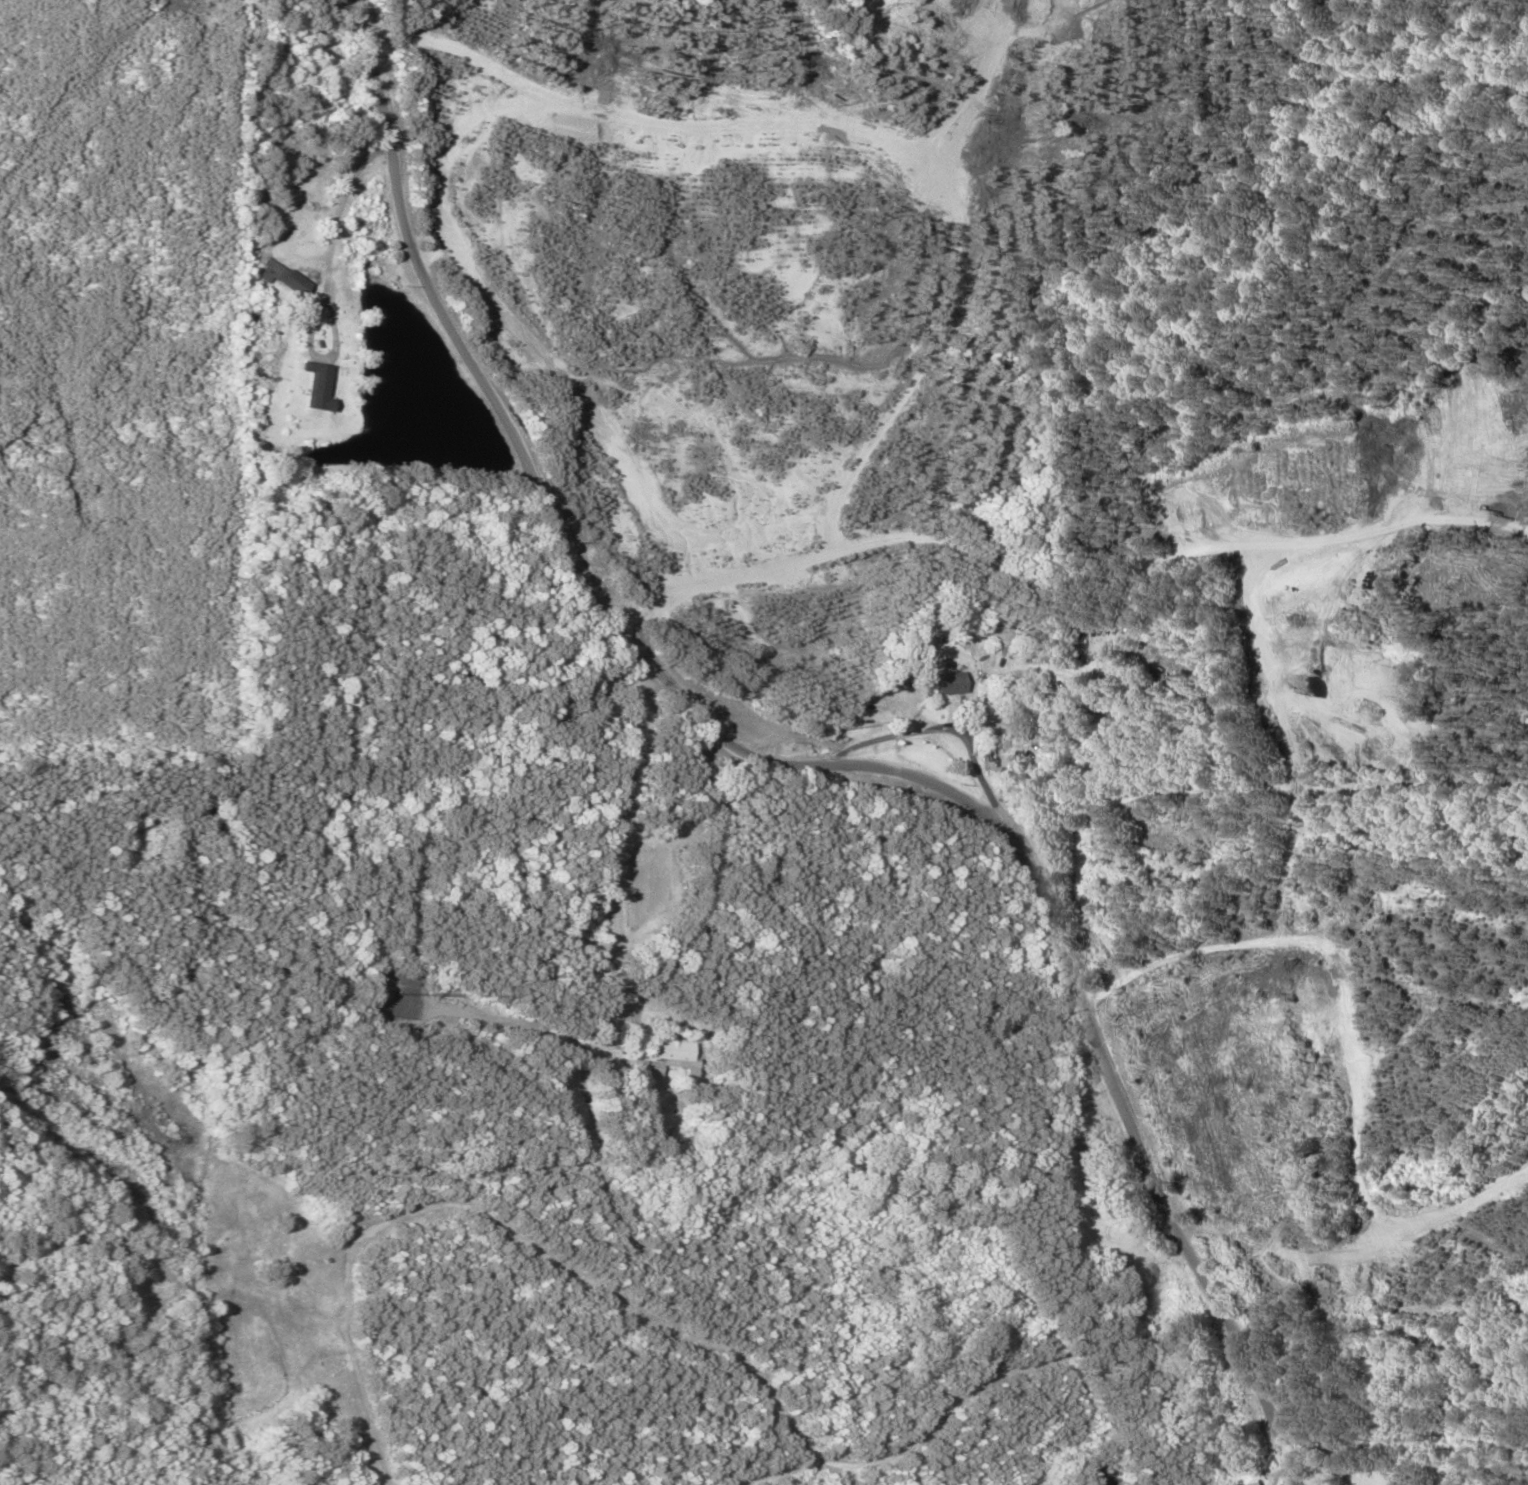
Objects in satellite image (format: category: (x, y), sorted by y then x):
building: (279, 276)
building: (311, 387)
building: (990, 623)
building: (942, 683)
road: (756, 774)
building: (660, 1050)
building: (631, 1068)
building: (602, 1088)
building: (1101, 1181)
building: (1132, 1244)
building: (1256, 1484)

